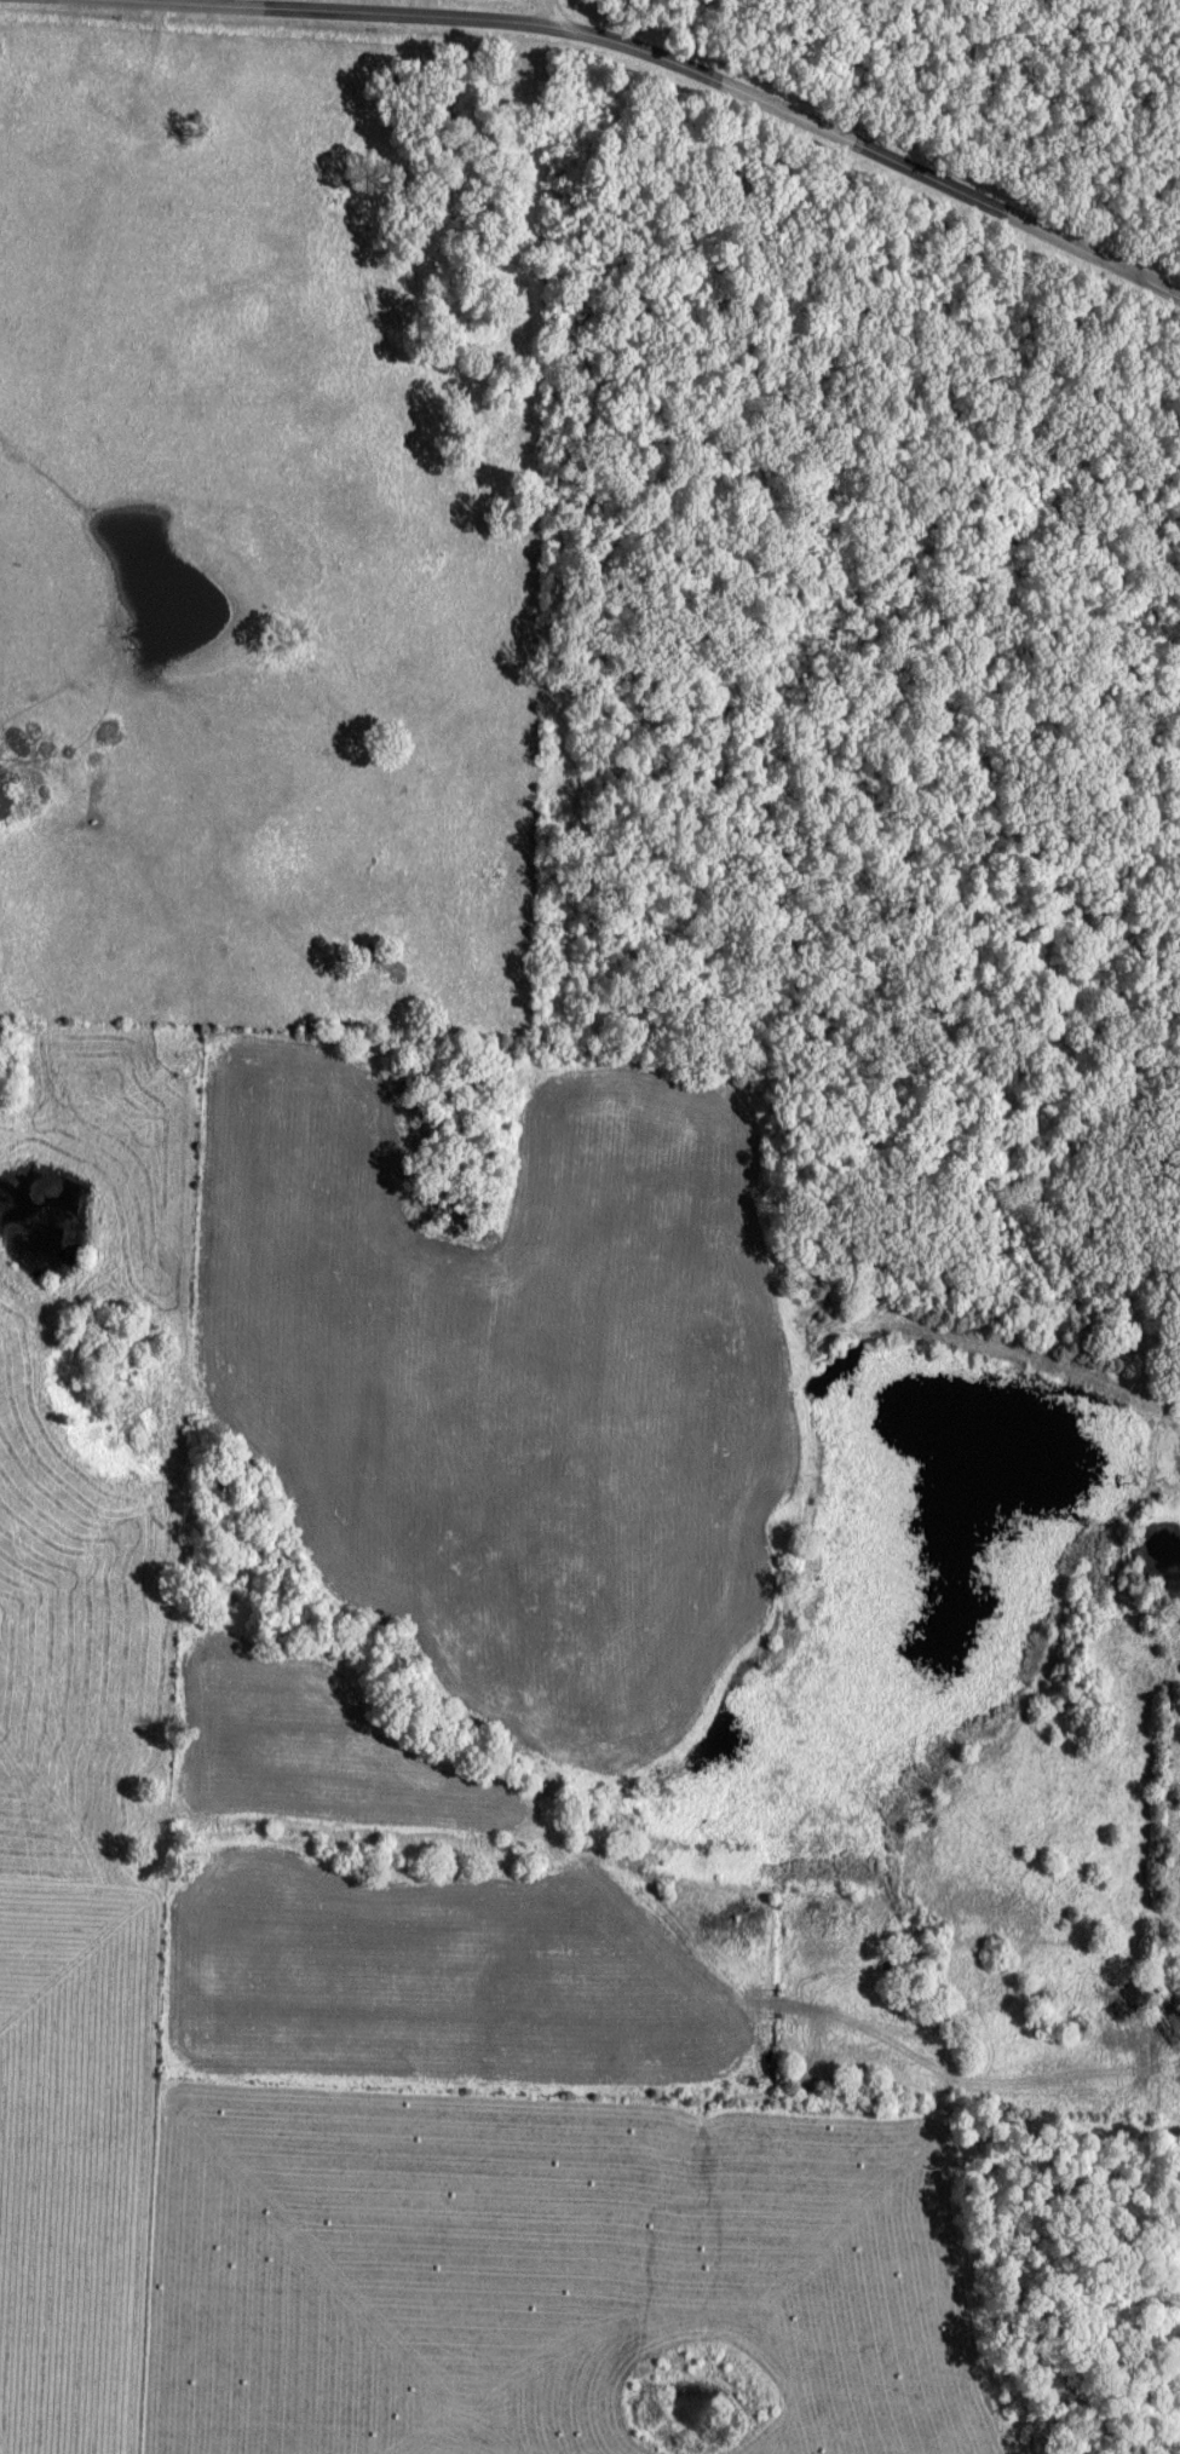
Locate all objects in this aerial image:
road: (545, 12)
road: (674, 63)

